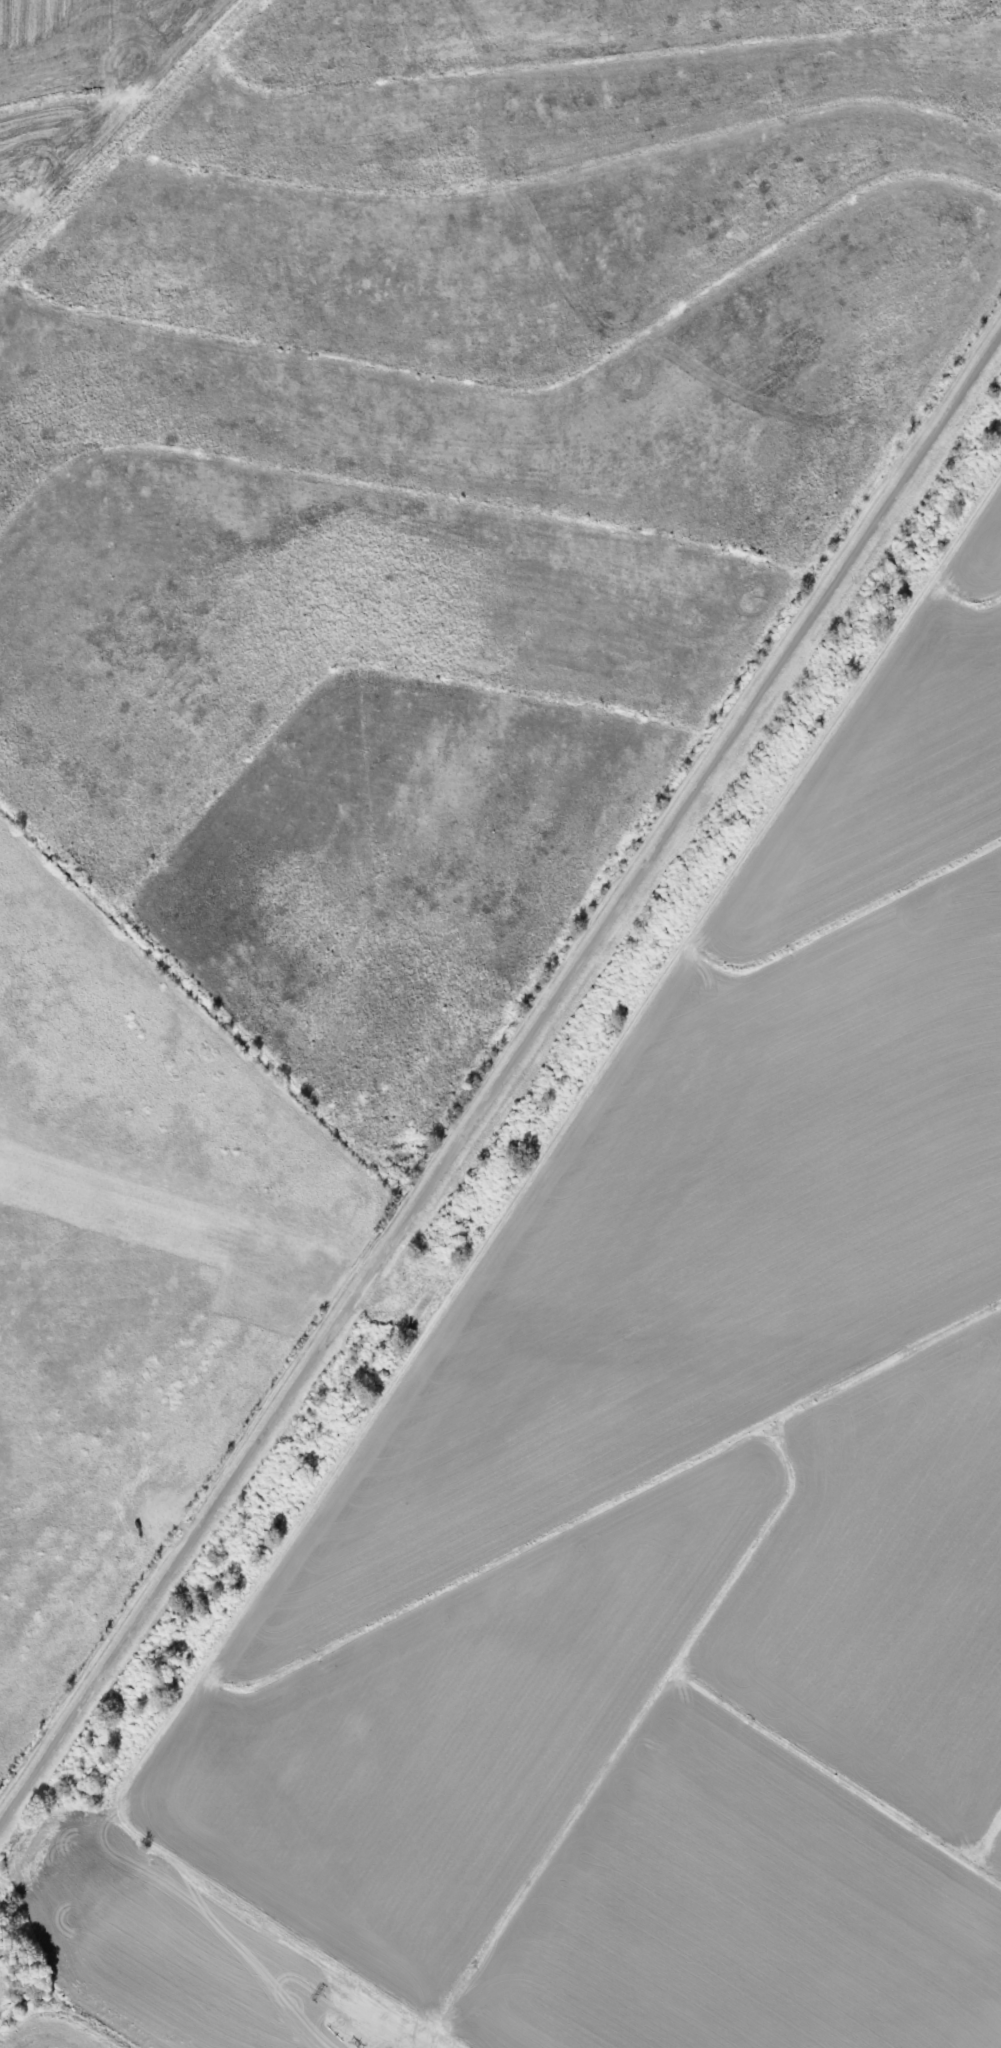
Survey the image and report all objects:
road: (501, 1075)

